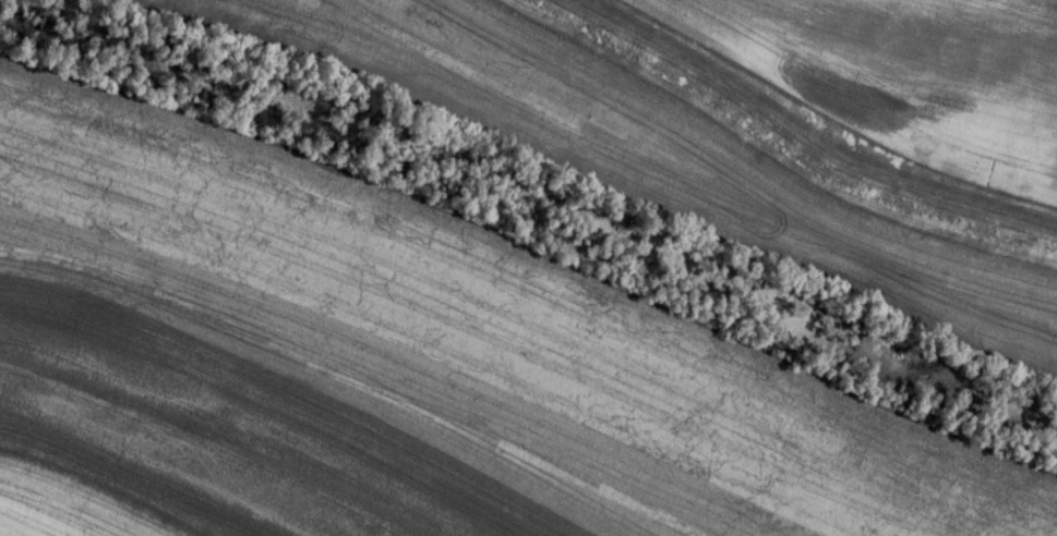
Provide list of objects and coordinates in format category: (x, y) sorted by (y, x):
road: (798, 141)

